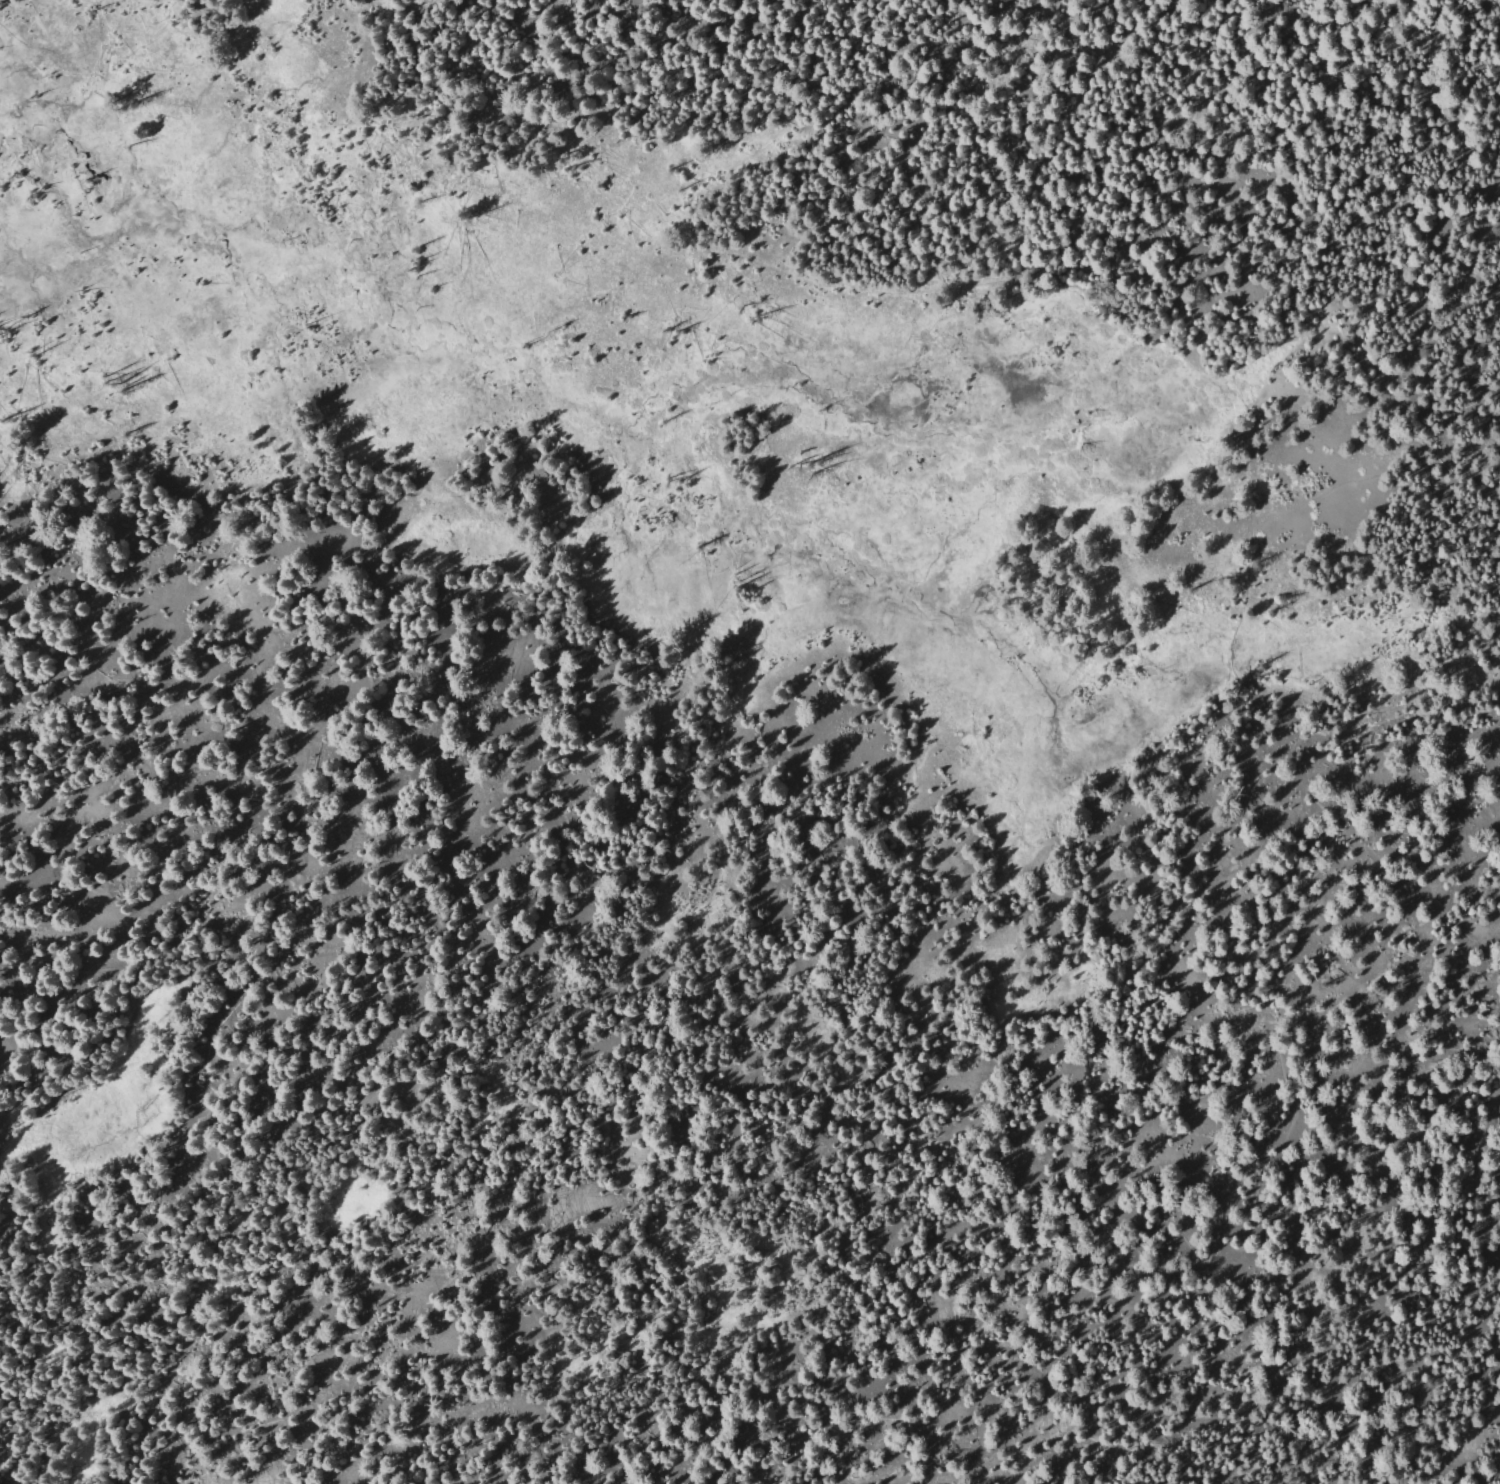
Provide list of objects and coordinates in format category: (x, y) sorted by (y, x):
road: (685, 229)
road: (1240, 883)

